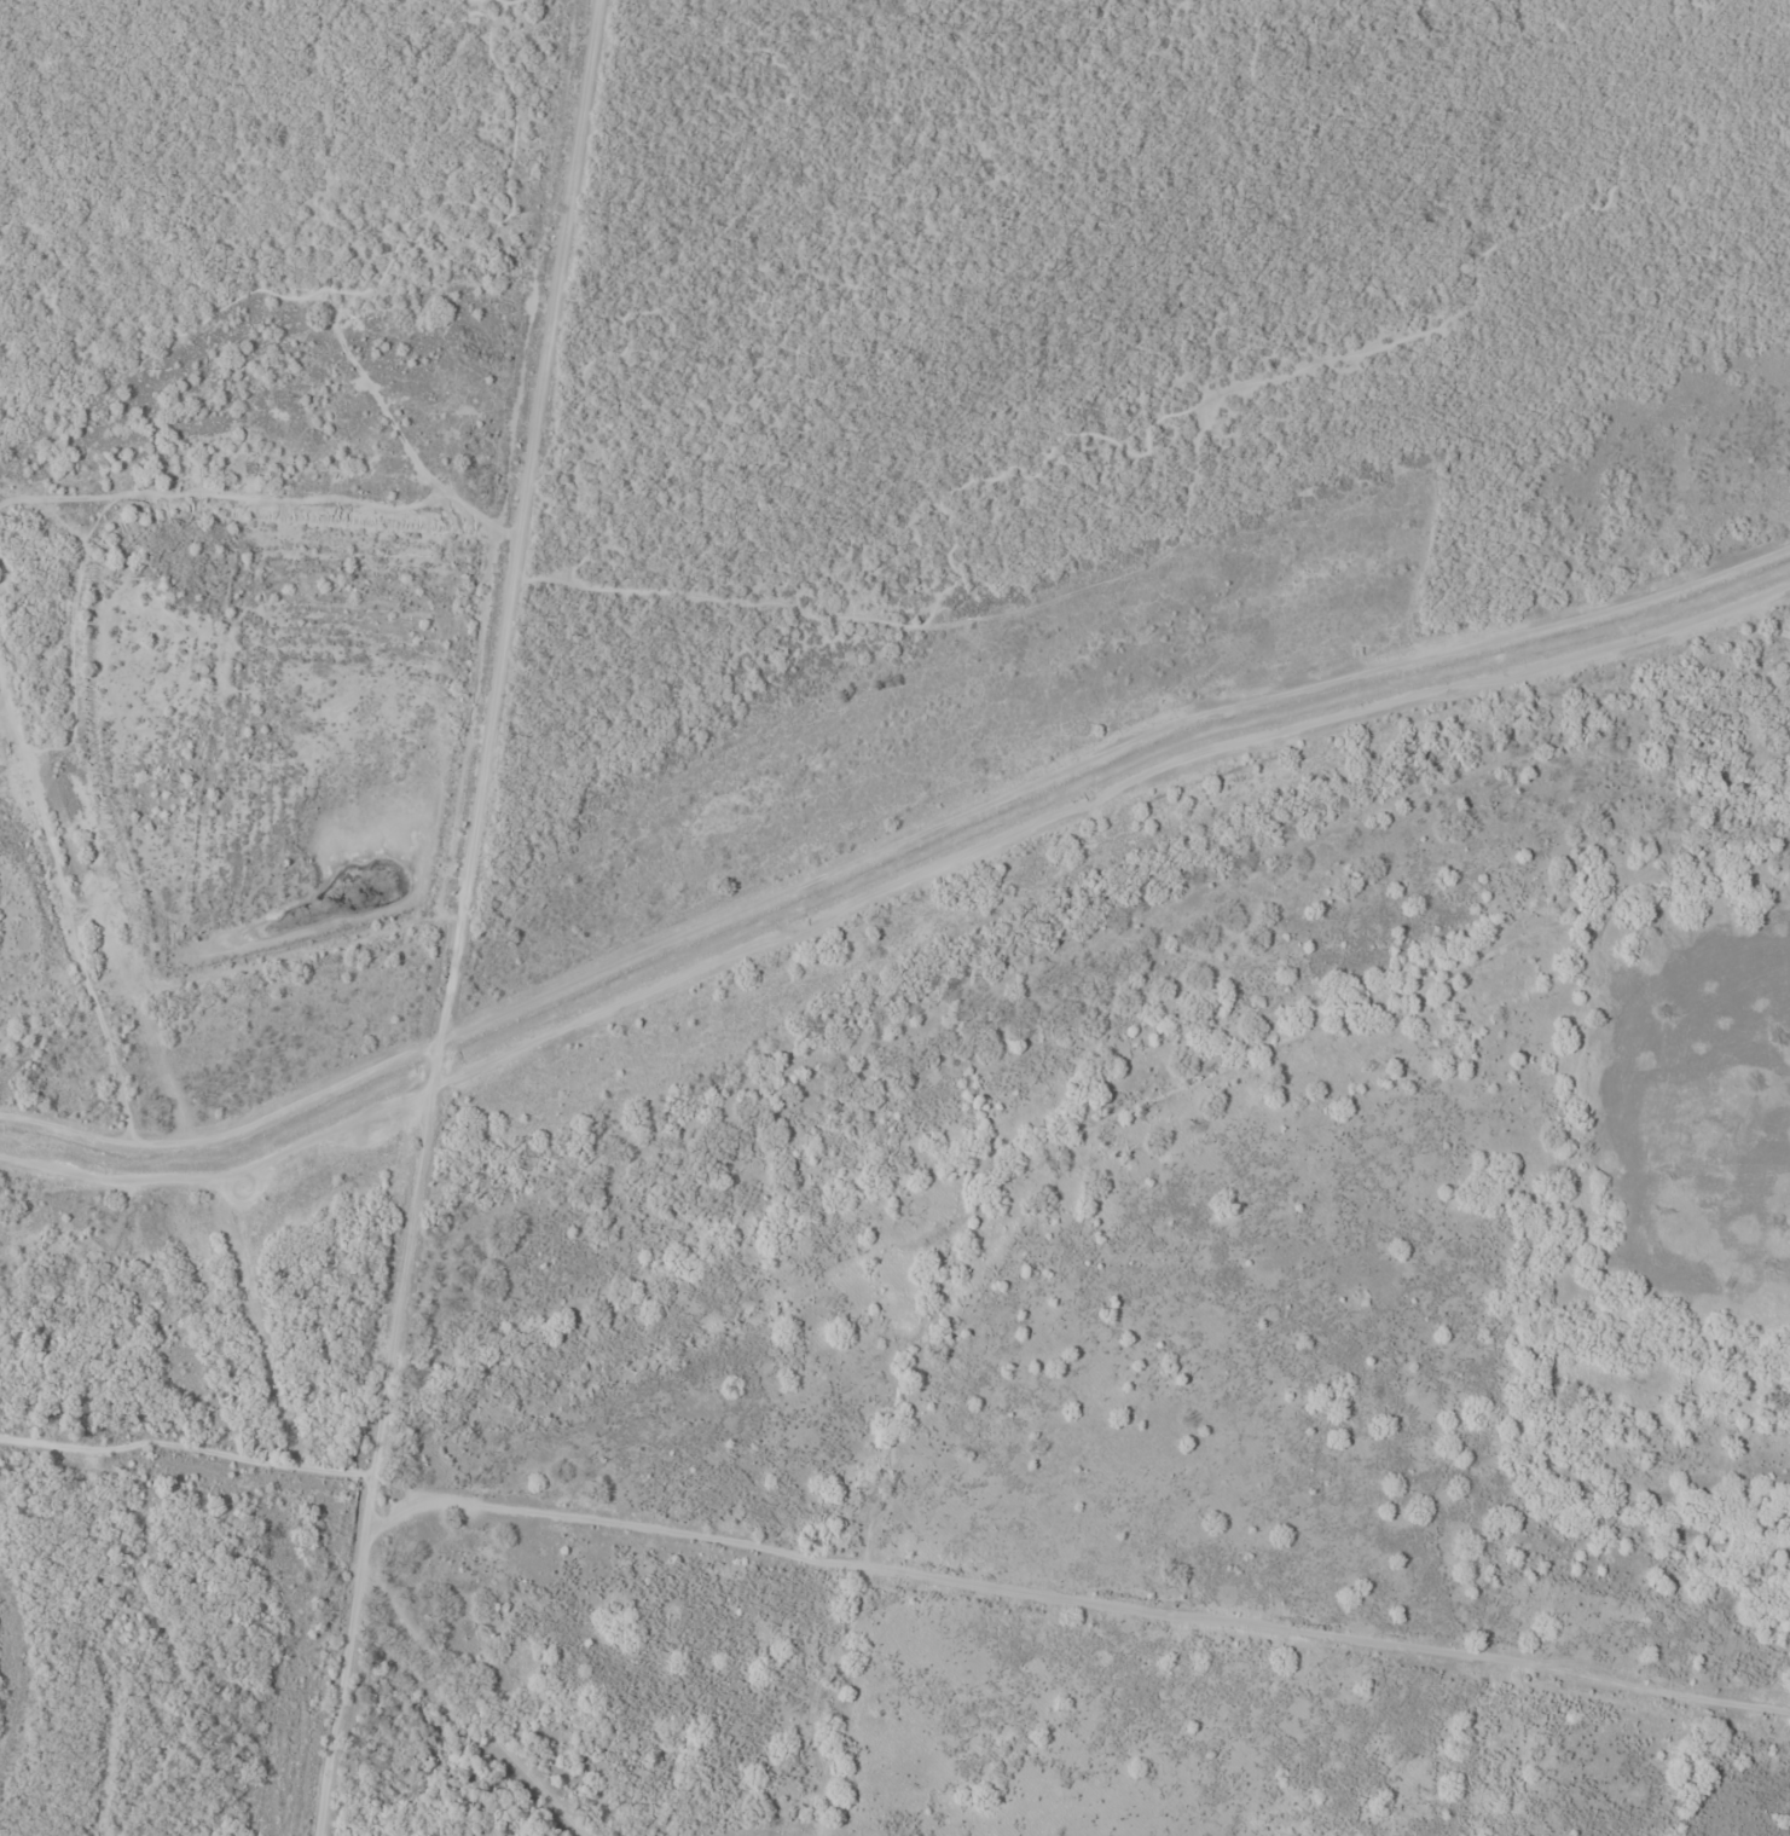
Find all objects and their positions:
road: (161, 328)
road: (259, 500)
road: (944, 621)
road: (5, 695)
road: (70, 899)
road: (459, 917)
road: (227, 1129)
road: (225, 1170)

